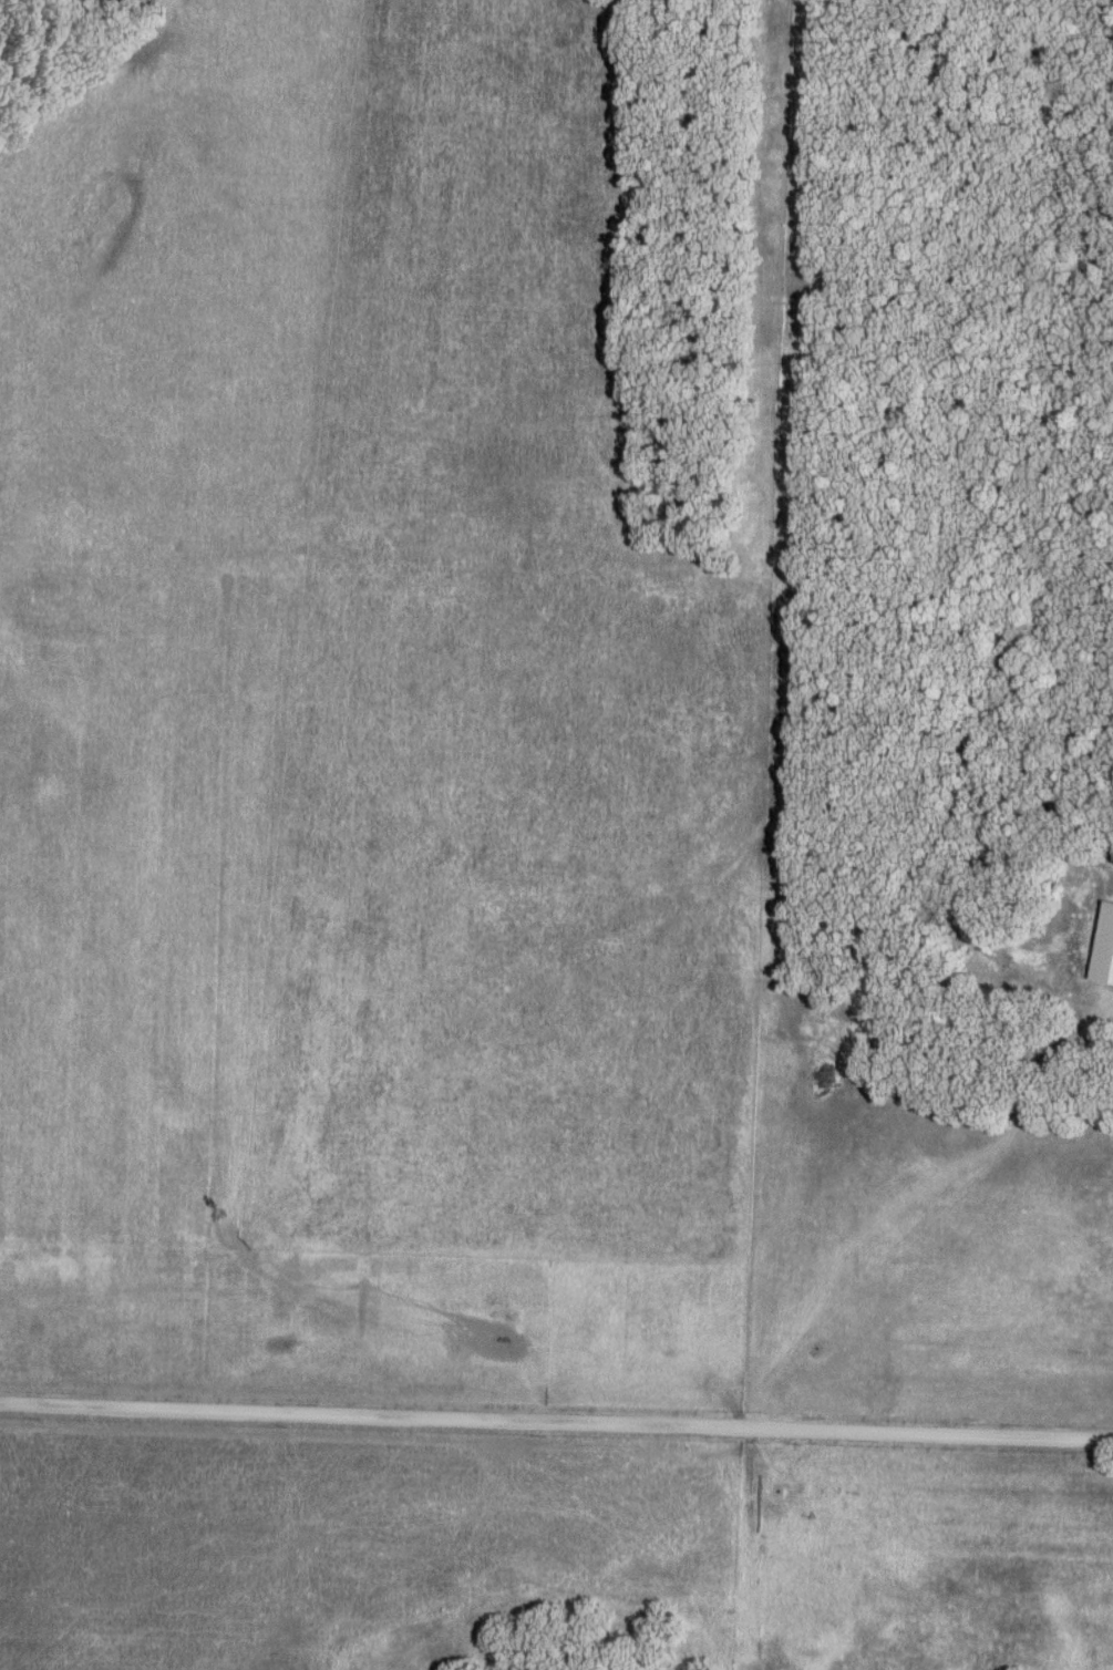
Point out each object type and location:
building: (1103, 946)
road: (556, 1415)

